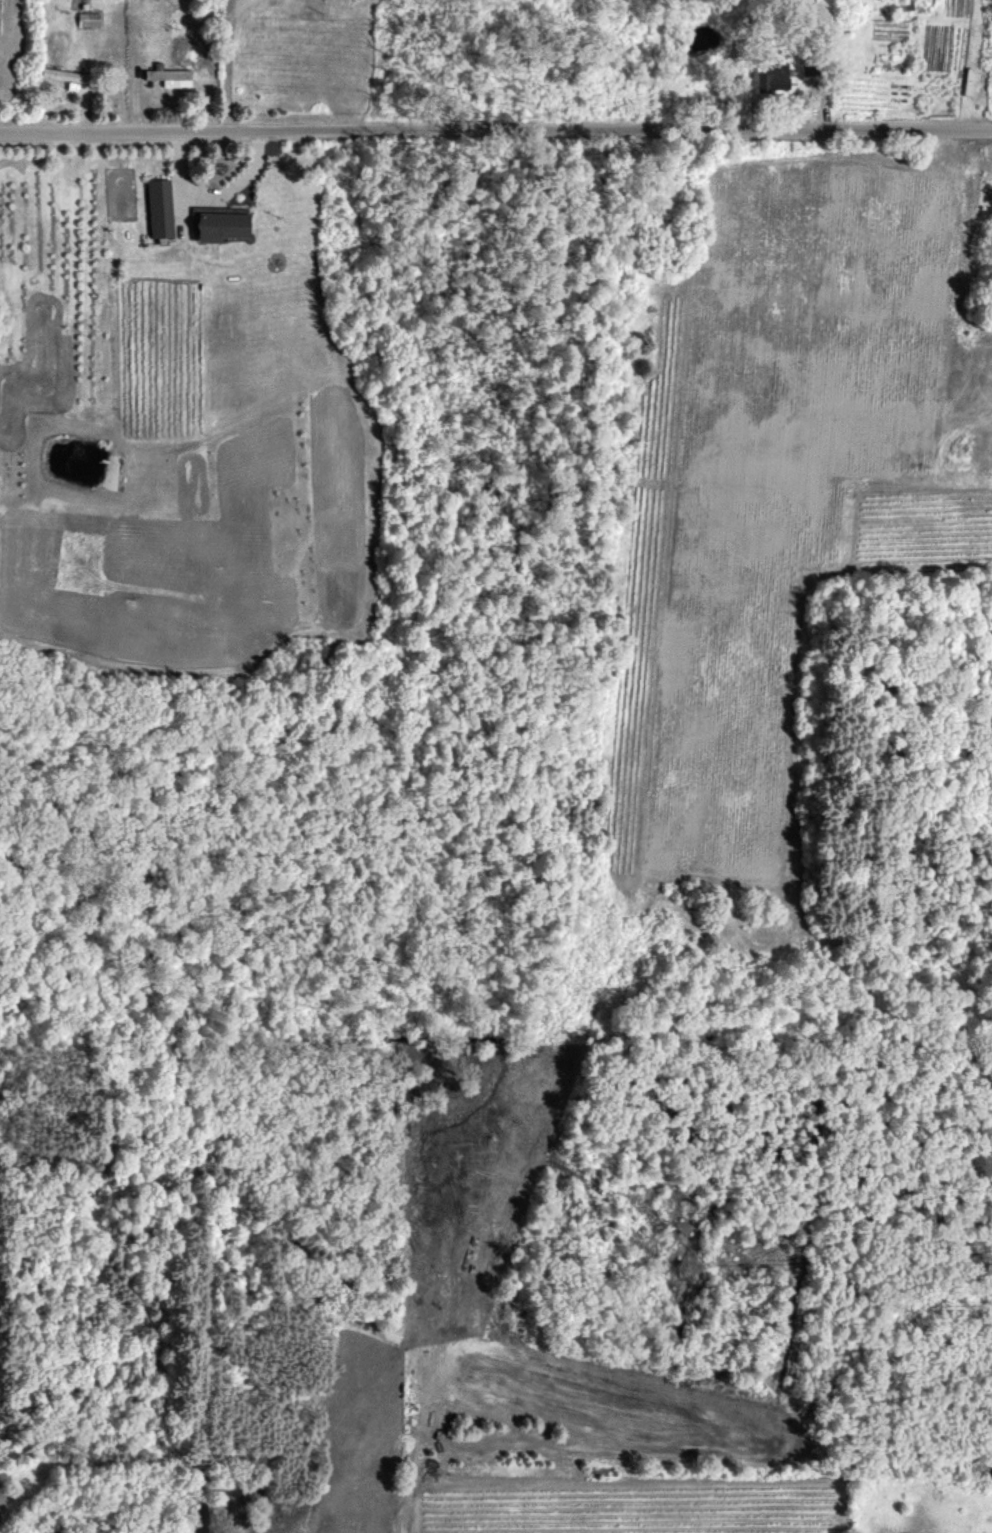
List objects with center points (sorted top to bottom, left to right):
road: (224, 65)
building: (63, 76)
building: (168, 76)
building: (770, 77)
road: (495, 130)
building: (157, 207)
building: (218, 223)

